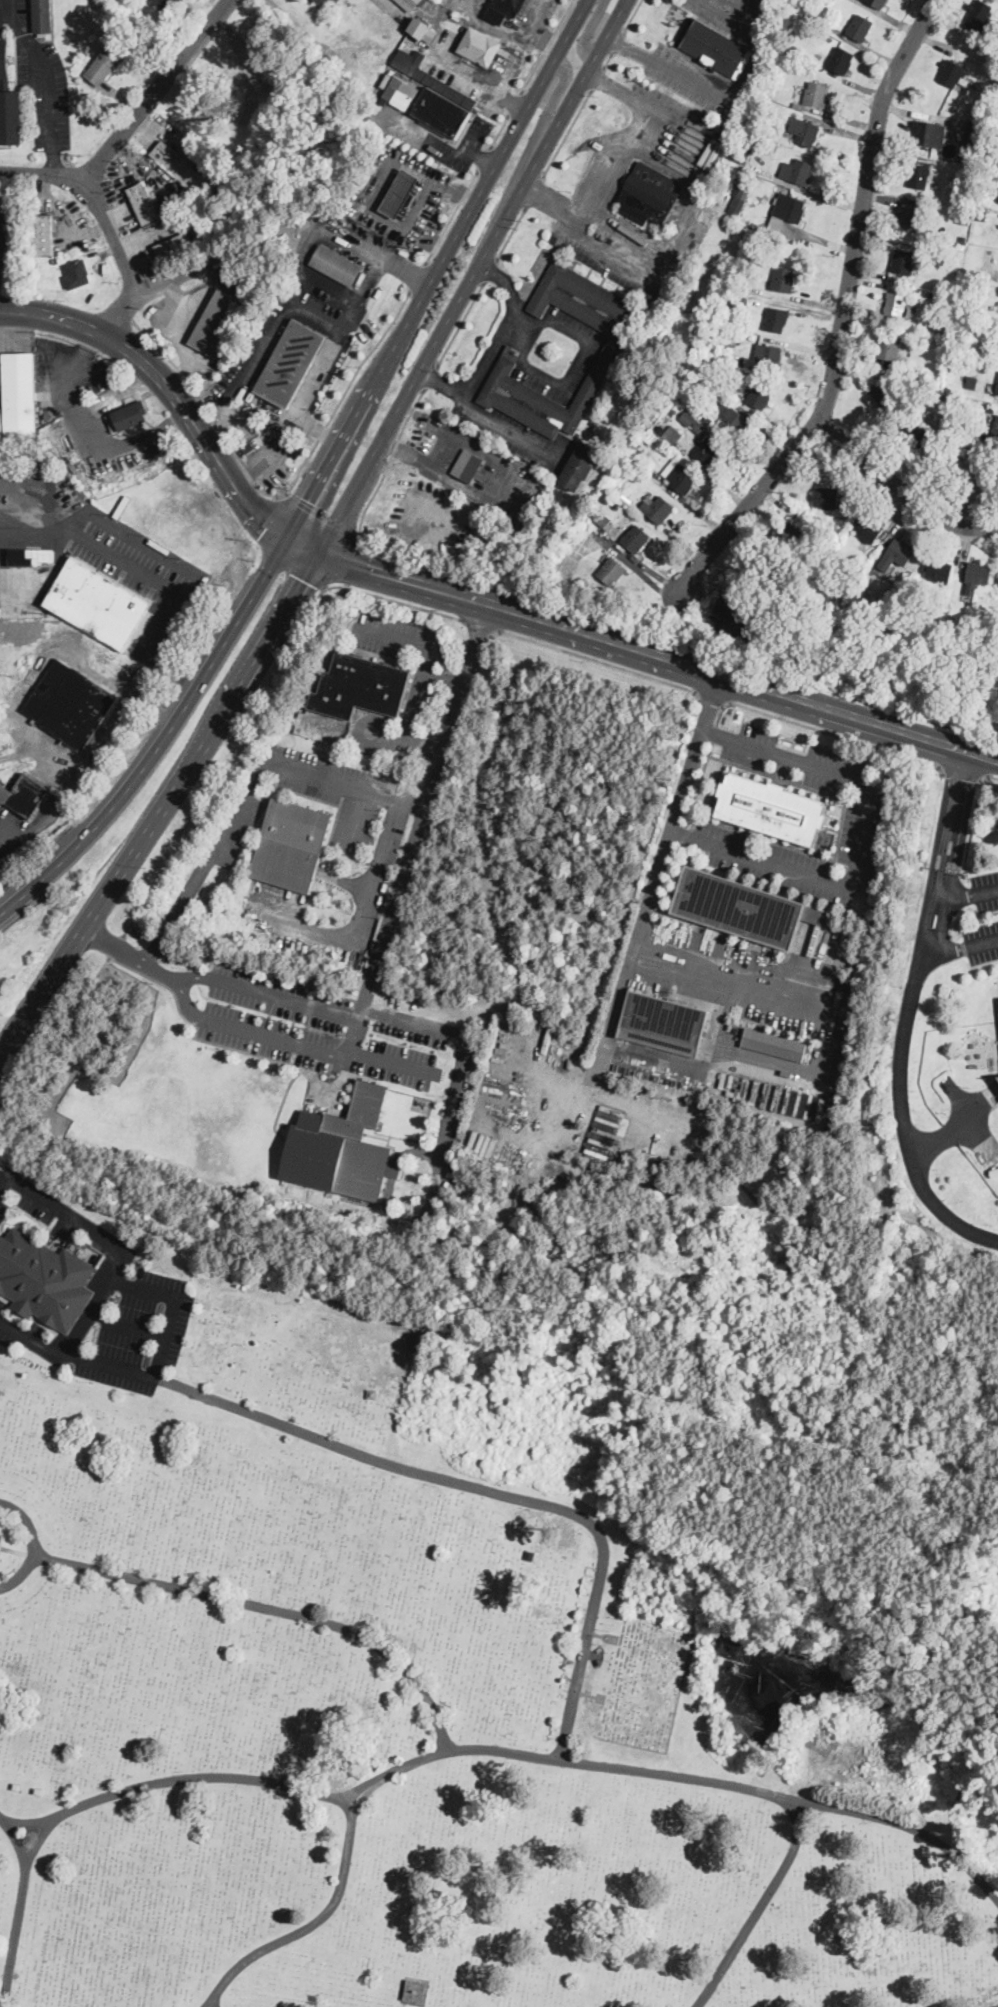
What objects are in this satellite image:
building: (325, 2)
building: (165, 3)
building: (877, 3)
building: (409, 4)
road: (13, 8)
building: (505, 12)
building: (456, 15)
road: (632, 15)
road: (732, 15)
building: (979, 16)
road: (7, 17)
building: (42, 17)
building: (464, 27)
building: (859, 28)
building: (422, 30)
road: (586, 31)
road: (618, 41)
road: (545, 45)
building: (481, 47)
building: (988, 47)
road: (631, 48)
building: (714, 48)
road: (608, 58)
building: (789, 58)
building: (841, 61)
building: (107, 62)
building: (786, 64)
building: (952, 72)
road: (597, 76)
building: (775, 78)
road: (474, 80)
road: (617, 87)
building: (400, 91)
road: (49, 92)
road: (155, 94)
building: (811, 95)
building: (436, 96)
building: (9, 101)
road: (514, 101)
road: (552, 101)
road: (736, 101)
road: (512, 102)
building: (364, 116)
building: (996, 118)
building: (751, 125)
road: (499, 129)
road: (566, 131)
building: (804, 131)
building: (930, 133)
building: (972, 141)
road: (442, 146)
building: (741, 152)
building: (967, 154)
road: (482, 157)
road: (484, 158)
building: (993, 160)
building: (178, 165)
building: (796, 172)
road: (40, 174)
building: (918, 175)
building: (365, 180)
road: (599, 185)
road: (533, 190)
building: (951, 191)
building: (398, 194)
building: (649, 195)
building: (409, 199)
building: (738, 199)
building: (144, 204)
building: (979, 209)
building: (965, 210)
building: (785, 212)
road: (451, 214)
building: (911, 219)
building: (964, 219)
road: (511, 232)
building: (44, 235)
building: (964, 239)
road: (490, 243)
building: (175, 247)
road: (379, 255)
road: (3, 260)
road: (124, 260)
building: (902, 262)
building: (336, 265)
road: (490, 268)
building: (953, 268)
road: (437, 269)
building: (82, 271)
road: (417, 274)
road: (2, 276)
building: (783, 279)
building: (745, 281)
building: (243, 288)
building: (251, 294)
building: (743, 296)
building: (933, 296)
building: (896, 306)
building: (966, 310)
road: (842, 316)
road: (56, 317)
building: (777, 319)
road: (461, 321)
building: (935, 321)
building: (217, 322)
building: (726, 336)
building: (611, 347)
road: (493, 349)
building: (887, 353)
road: (324, 355)
building: (768, 356)
building: (718, 357)
building: (290, 363)
road: (431, 374)
road: (568, 382)
building: (926, 382)
building: (972, 382)
building: (997, 390)
building: (885, 394)
building: (760, 396)
building: (19, 399)
building: (990, 408)
building: (127, 417)
building: (766, 417)
building: (687, 418)
building: (708, 420)
building: (731, 421)
building: (967, 425)
road: (507, 426)
building: (700, 427)
building: (995, 428)
building: (917, 433)
building: (671, 435)
road: (200, 436)
building: (966, 436)
building: (257, 440)
building: (248, 447)
building: (707, 451)
building: (629, 463)
building: (468, 465)
building: (579, 467)
building: (679, 477)
park: (968, 477)
road: (29, 484)
road: (901, 488)
road: (285, 493)
building: (826, 498)
building: (625, 499)
traffic signals: (308, 500)
road: (20, 508)
building: (848, 508)
building: (657, 509)
building: (528, 514)
road: (322, 515)
building: (602, 519)
road: (271, 520)
road: (337, 520)
road: (43, 521)
traffic signals: (266, 527)
building: (525, 528)
building: (868, 529)
road: (34, 535)
building: (790, 536)
building: (635, 539)
road: (303, 546)
parking lot: (102, 547)
road: (619, 549)
building: (896, 554)
building: (30, 557)
road: (346, 560)
road: (638, 564)
road: (293, 567)
traffic signals: (370, 570)
building: (610, 571)
building: (939, 571)
road: (199, 577)
building: (977, 577)
traffic signals: (303, 579)
road: (392, 599)
building: (97, 603)
road: (388, 606)
building: (728, 606)
road: (598, 615)
building: (756, 622)
road: (478, 624)
road: (140, 652)
road: (659, 654)
road: (598, 659)
road: (421, 675)
building: (140, 677)
road: (443, 677)
building: (360, 686)
road: (714, 698)
building: (70, 704)
road: (825, 730)
road: (161, 743)
road: (88, 754)
road: (279, 761)
road: (230, 768)
road: (961, 773)
building: (24, 795)
road: (163, 803)
road: (412, 804)
building: (772, 809)
parking lot: (866, 809)
road: (424, 810)
road: (354, 817)
road: (973, 822)
road: (861, 843)
building: (291, 845)
road: (378, 870)
road: (655, 875)
road: (966, 891)
building: (743, 907)
road: (177, 911)
road: (115, 945)
road: (958, 947)
road: (132, 956)
road: (905, 1015)
road: (408, 1018)
building: (664, 1018)
parking lot: (321, 1027)
road: (58, 1032)
road: (353, 1040)
building: (773, 1043)
road: (837, 1052)
road: (395, 1063)
building: (973, 1064)
building: (997, 1075)
road: (453, 1110)
building: (608, 1121)
building: (341, 1147)
building: (598, 1149)
parking lot: (28, 1194)
road: (112, 1242)
building: (44, 1279)
road: (173, 1303)
road: (126, 1325)
parking lot: (118, 1330)
road: (73, 1356)
road: (488, 1489)
building: (4, 1545)
road: (34, 1546)
road: (271, 1607)
building: (614, 1638)
park: (461, 1660)
building: (600, 1698)
road: (549, 1757)
road: (175, 1778)
road: (30, 1820)
road: (909, 1823)
road: (20, 1908)
building: (415, 1991)

